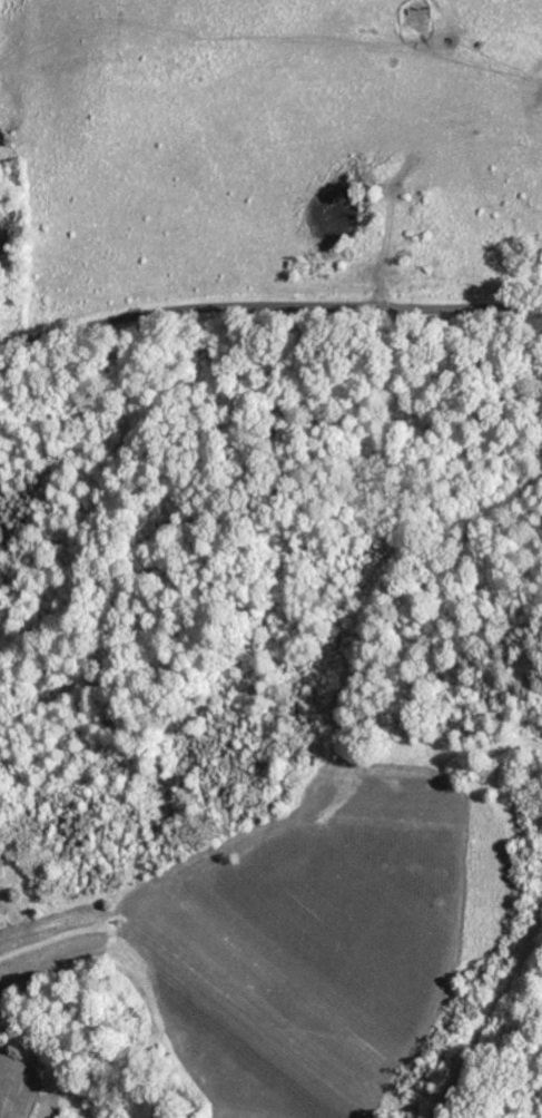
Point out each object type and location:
road: (268, 307)

